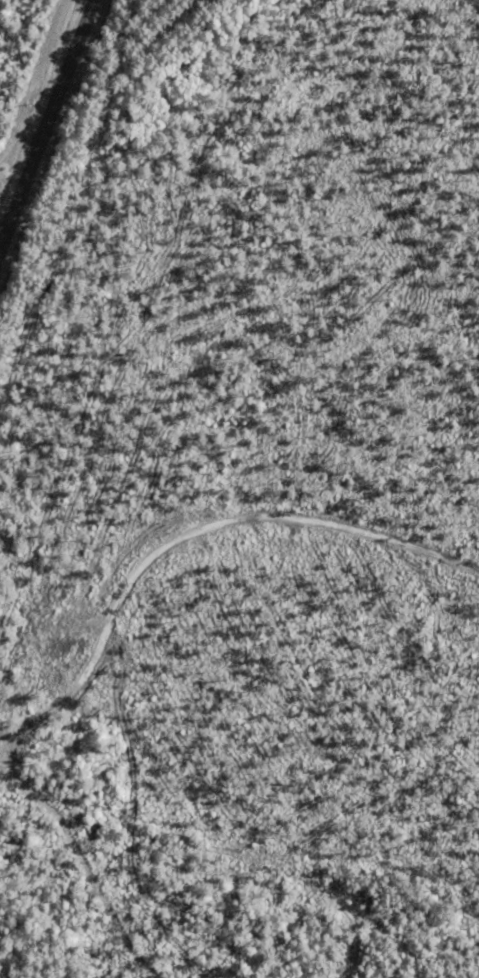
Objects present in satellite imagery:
road: (44, 127)
road: (4, 230)

